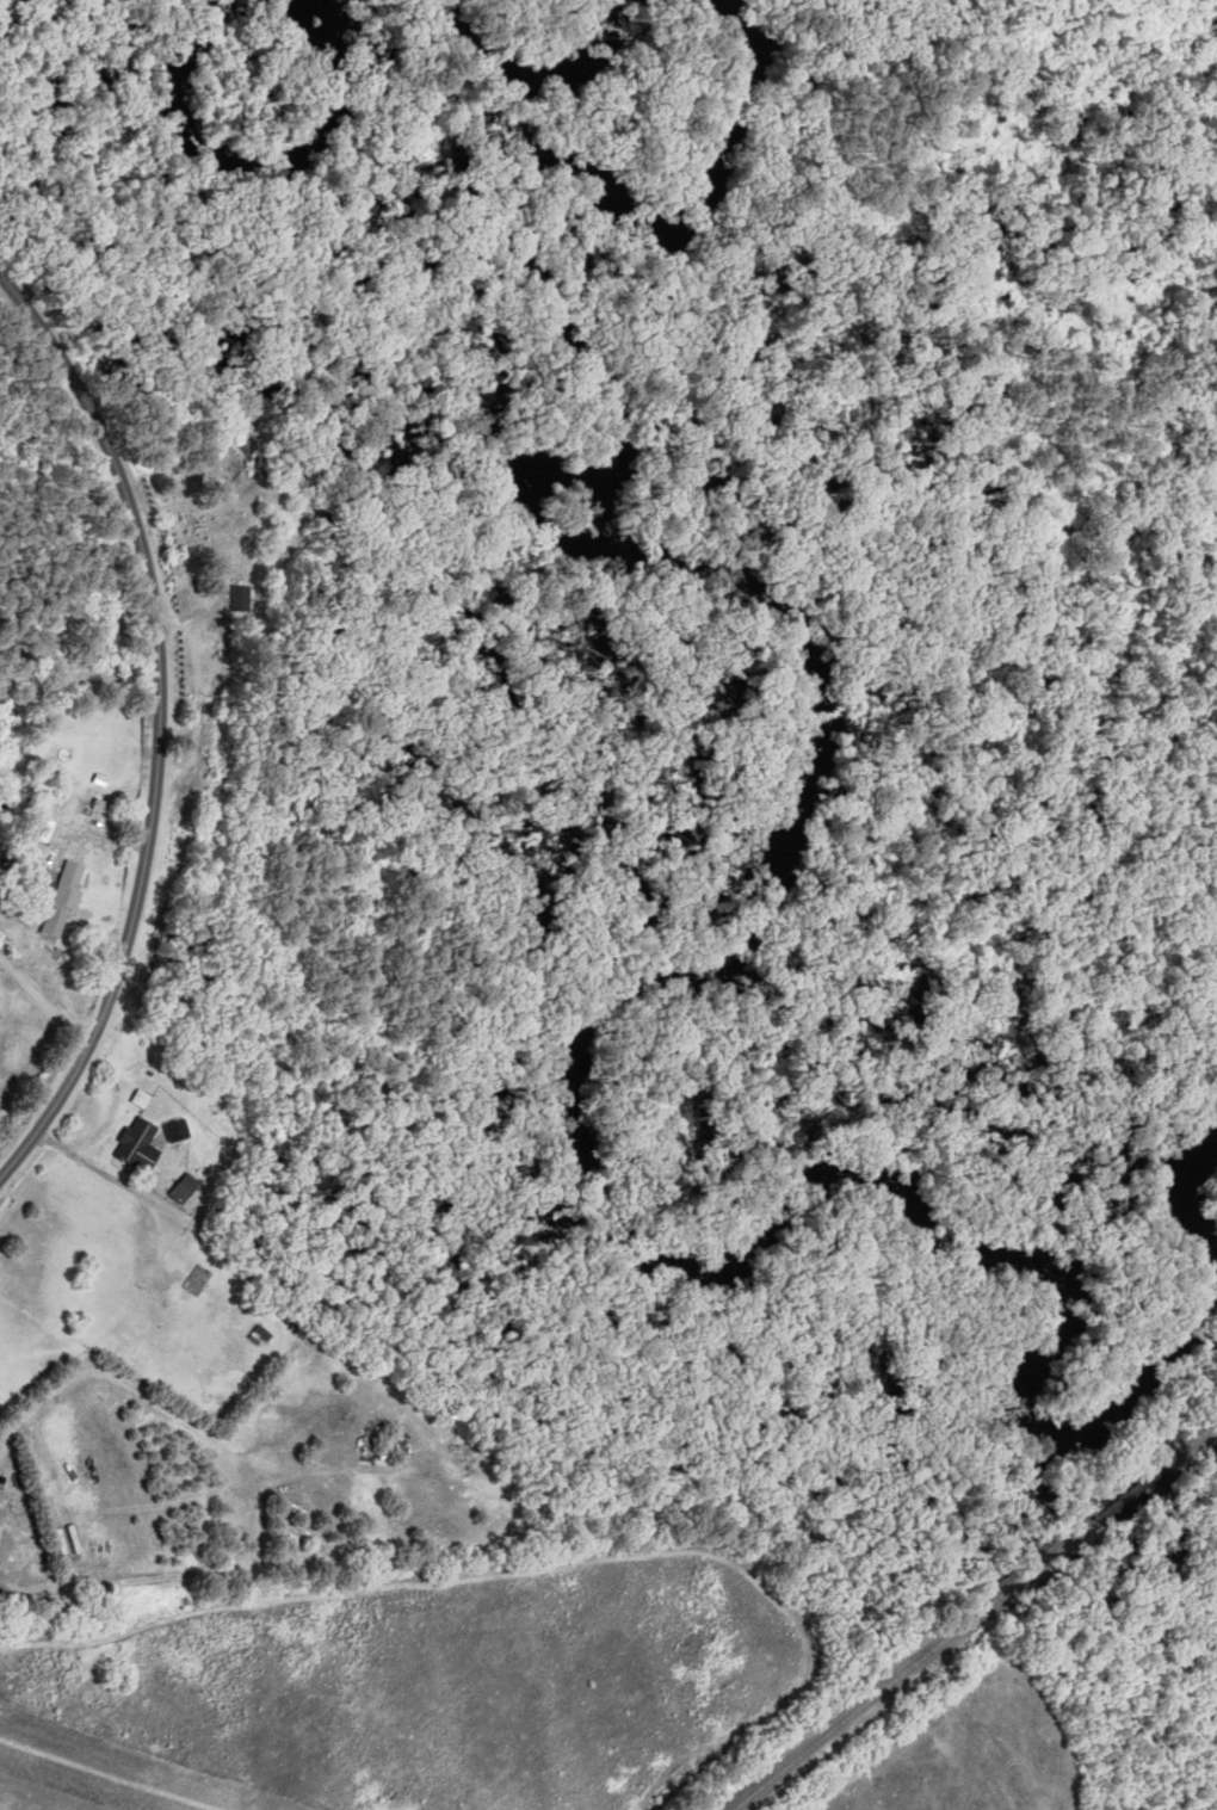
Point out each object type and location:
river: (527, 63)
river: (251, 165)
building: (246, 600)
road: (161, 724)
river: (787, 848)
building: (69, 902)
road: (44, 1002)
building: (184, 1130)
building: (146, 1145)
building: (190, 1190)
river: (1184, 1199)
building: (222, 1289)
railway: (980, 1619)

